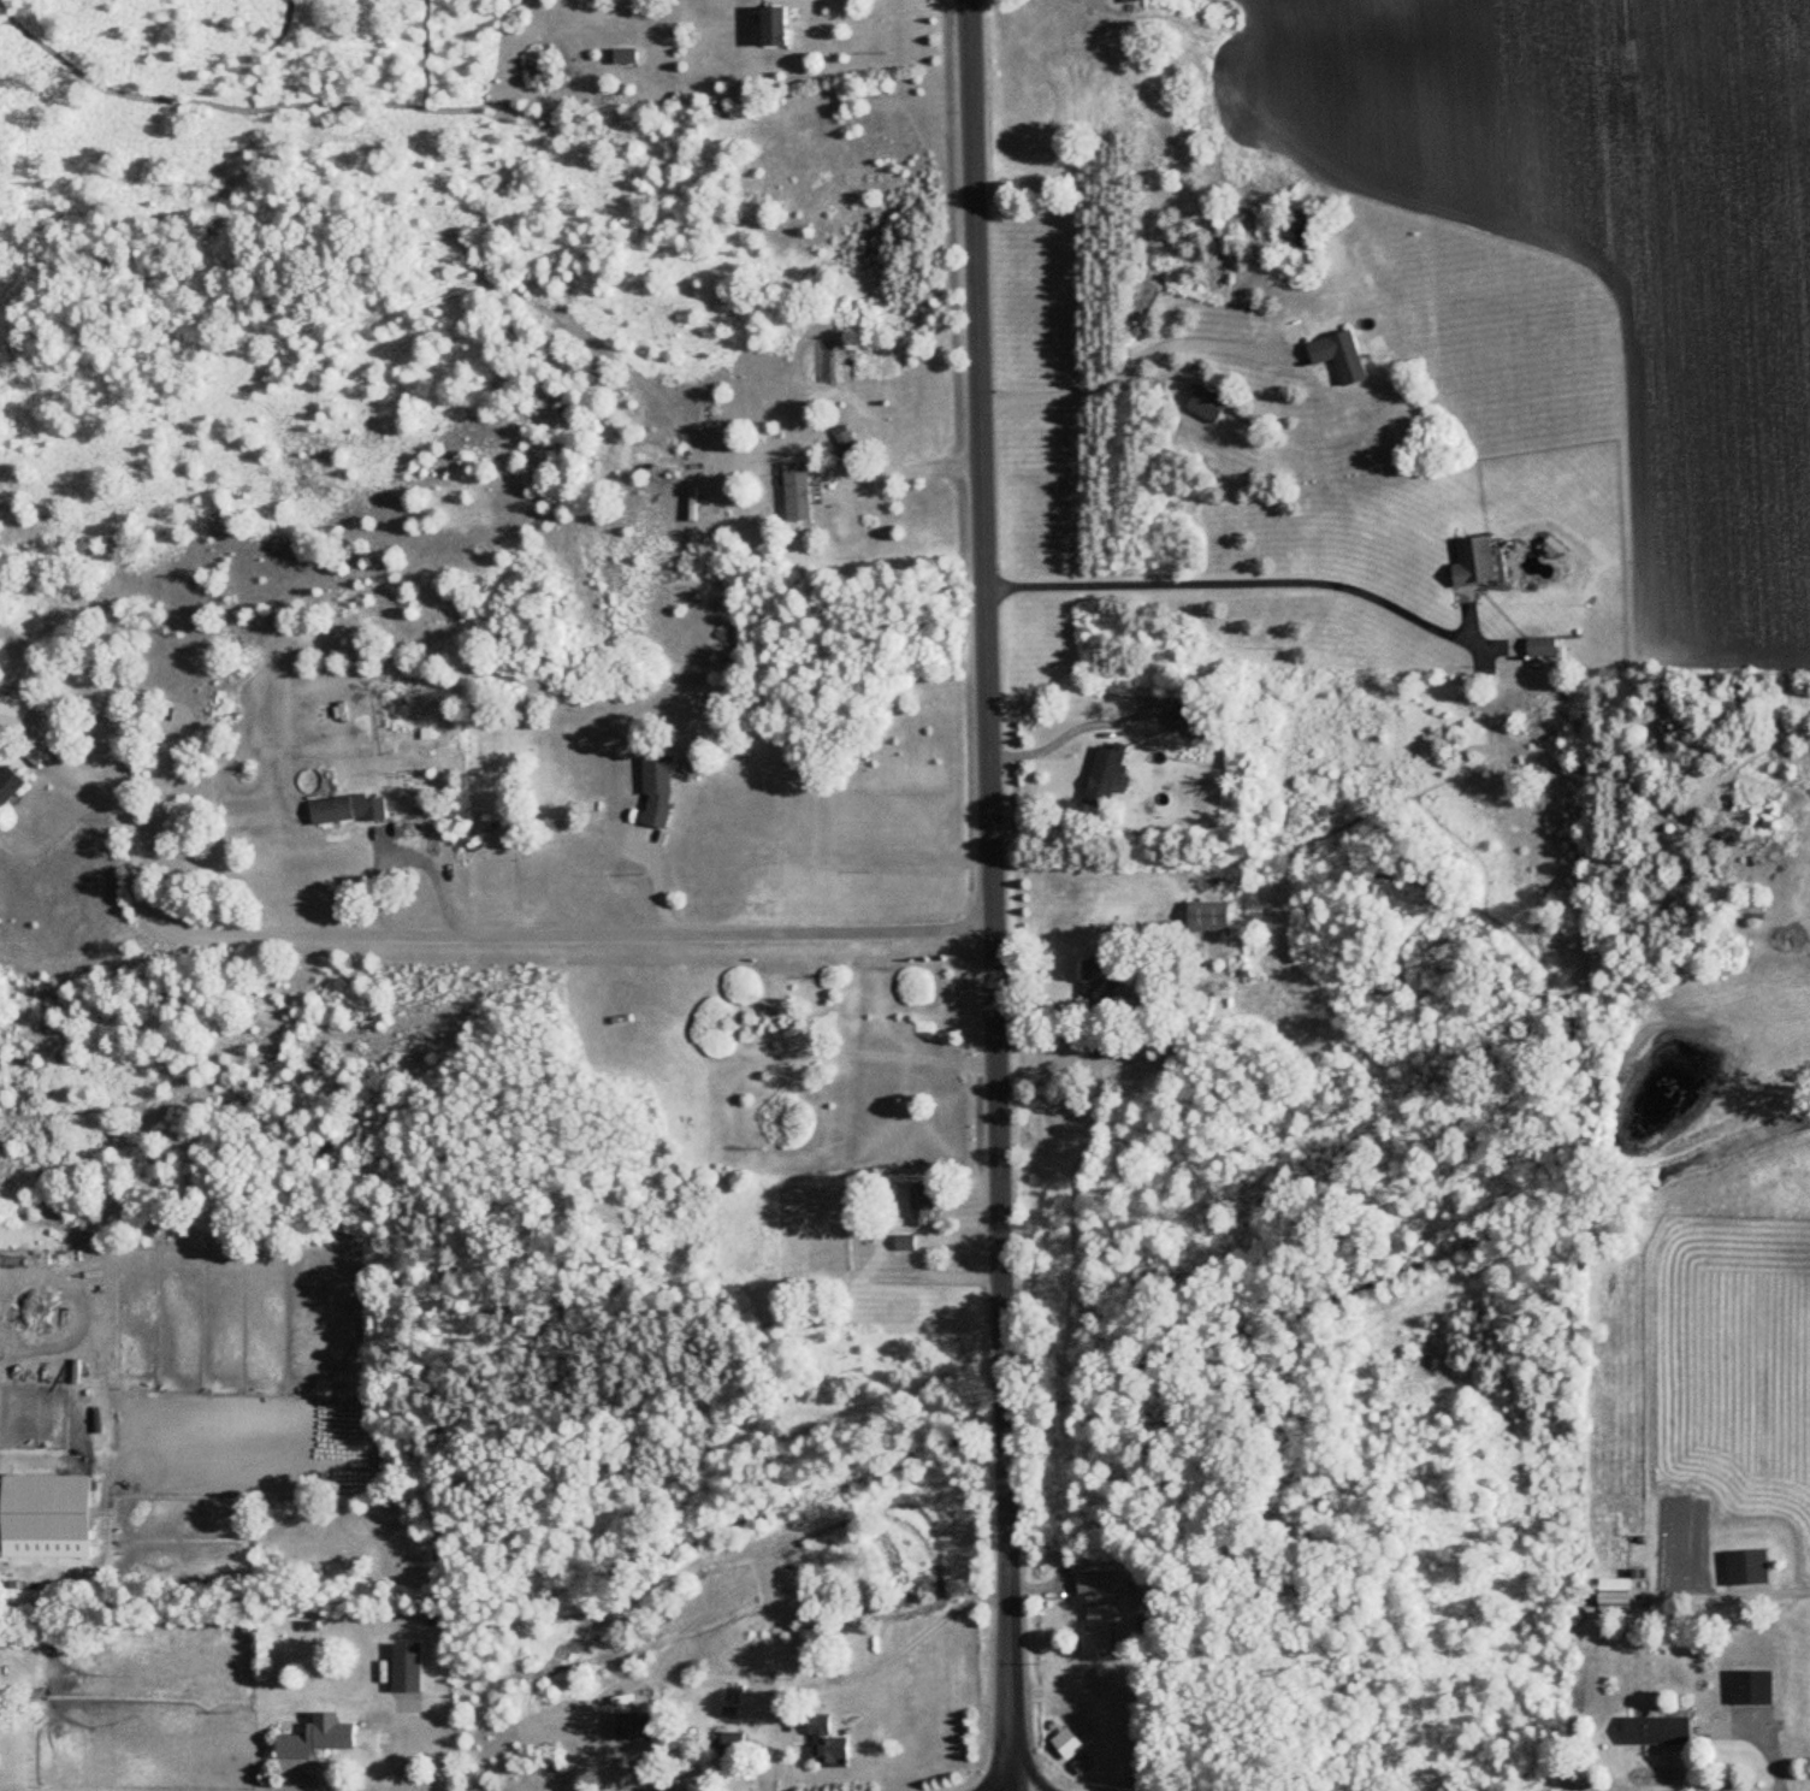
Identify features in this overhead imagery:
building: (1131, 1)
building: (773, 26)
building: (1235, 100)
building: (1341, 356)
road: (1125, 363)
building: (1207, 404)
building: (841, 438)
road: (913, 463)
building: (803, 492)
building: (693, 506)
building: (1474, 562)
road: (1237, 577)
building: (1542, 646)
building: (13, 715)
building: (1189, 717)
road: (1071, 728)
building: (36, 752)
building: (1106, 778)
building: (11, 785)
building: (656, 792)
building: (348, 810)
road: (661, 883)
road: (996, 894)
building: (1749, 911)
building: (1207, 917)
road: (795, 932)
road: (294, 934)
building: (1096, 991)
building: (922, 1205)
building: (904, 1242)
building: (816, 1293)
building: (45, 1507)
building: (1746, 1567)
building: (1107, 1589)
building: (1083, 1591)
building: (1614, 1592)
building: (828, 1596)
building: (1099, 1629)
building: (406, 1669)
building: (1751, 1686)
road: (791, 1701)
building: (633, 1726)
building: (1657, 1730)
building: (317, 1737)
building: (824, 1745)
building: (1065, 1750)
building: (730, 1752)
building: (1083, 1766)

